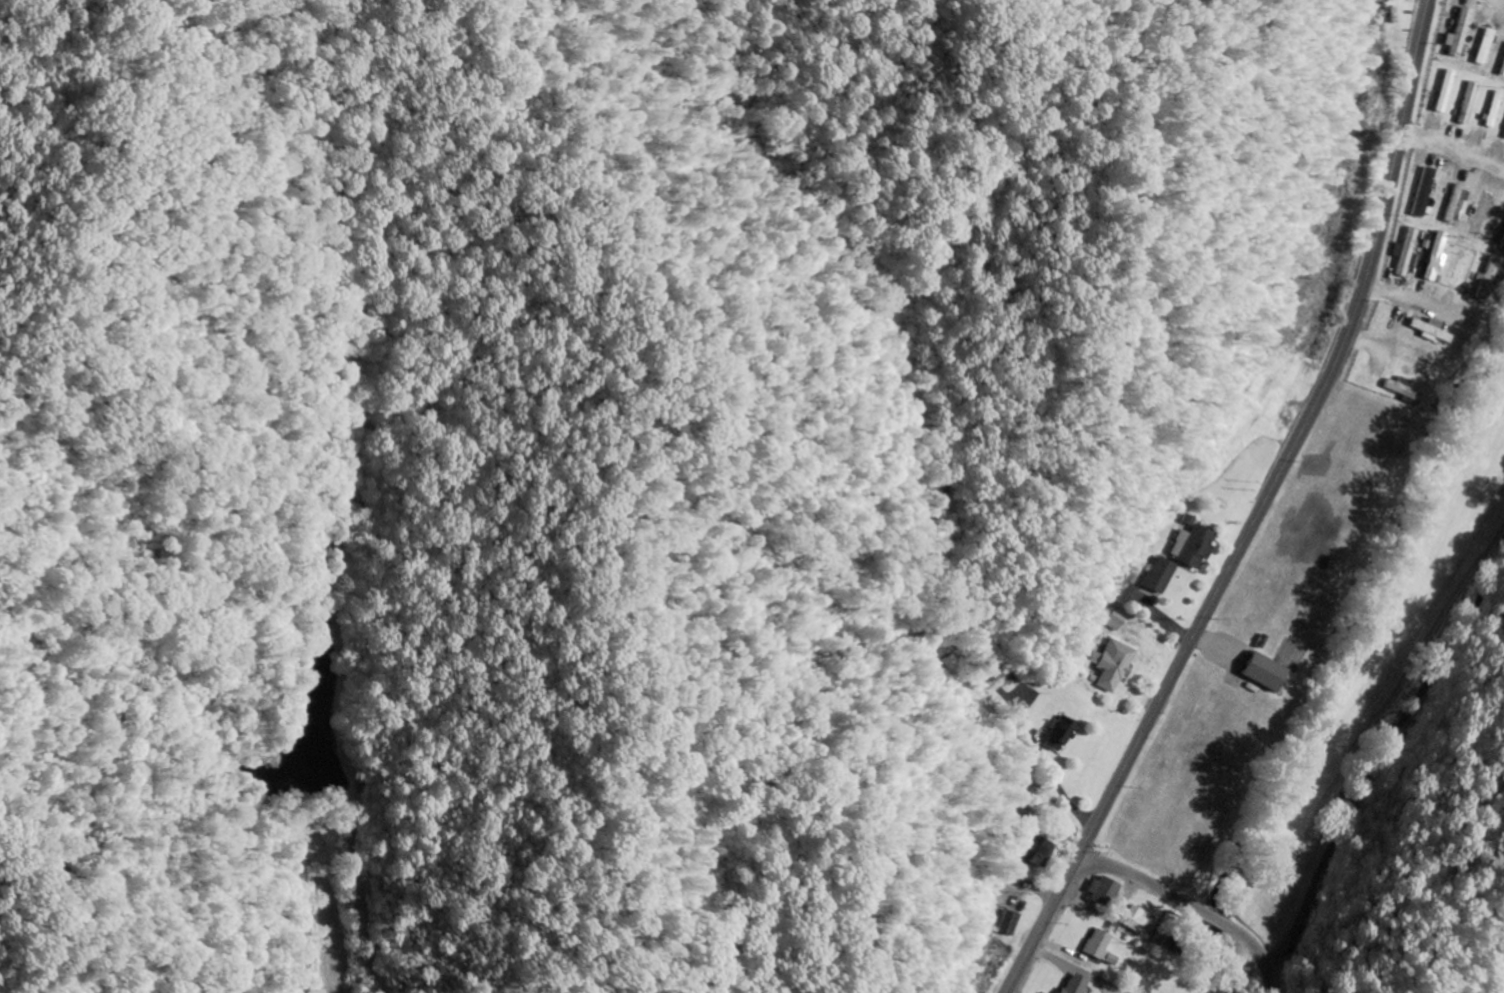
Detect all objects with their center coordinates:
building: (1463, 34)
building: (1488, 46)
building: (1503, 73)
building: (1449, 90)
building: (1471, 102)
building: (1496, 109)
road: (1457, 147)
building: (1427, 192)
road: (1253, 208)
building: (1484, 214)
building: (1408, 251)
building: (1438, 254)
building: (1489, 278)
building: (1433, 330)
road: (1353, 338)
building: (1404, 388)
road: (794, 422)
building: (1197, 545)
building: (1165, 575)
building: (1121, 621)
building: (959, 662)
building: (1118, 664)
building: (1265, 671)
building: (1062, 734)
road: (1382, 772)
road: (1101, 820)
building: (1040, 851)
building: (1106, 891)
road: (1197, 906)
building: (1137, 920)
building: (1015, 923)
building: (1102, 947)
building: (1078, 984)

